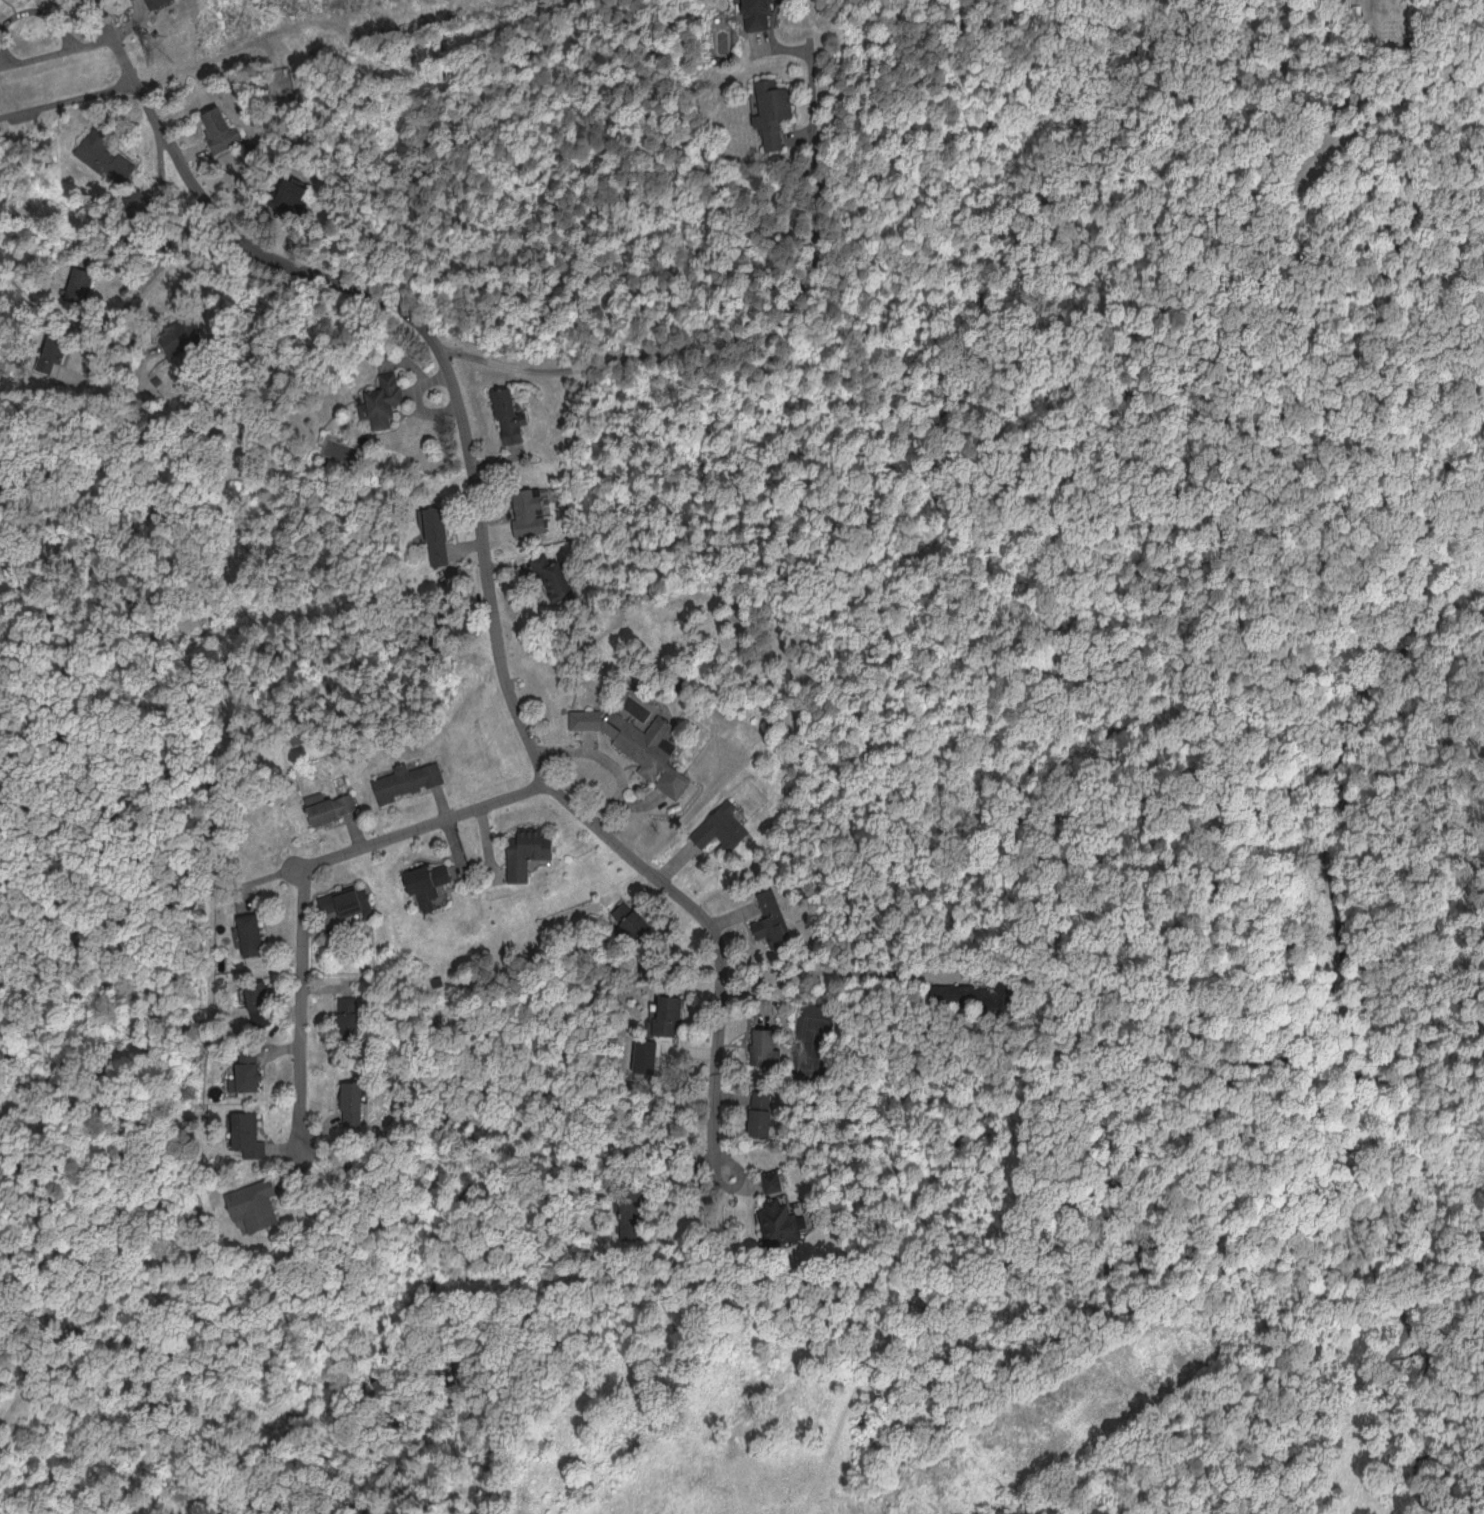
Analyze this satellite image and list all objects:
building: (161, 2)
building: (759, 14)
power tower: (157, 50)
road: (55, 51)
road: (69, 101)
building: (774, 110)
building: (220, 127)
building: (104, 155)
road: (222, 215)
road: (160, 254)
road: (748, 332)
building: (180, 335)
building: (382, 400)
building: (512, 415)
building: (531, 512)
building: (439, 535)
building: (553, 578)
building: (643, 739)
building: (409, 780)
road: (552, 787)
building: (335, 808)
building: (724, 827)
building: (530, 852)
road: (298, 871)
building: (430, 883)
building: (348, 901)
building: (630, 919)
building: (771, 919)
building: (249, 933)
building: (972, 993)
building: (258, 1000)
building: (668, 1011)
building: (347, 1014)
building: (767, 1043)
building: (250, 1075)
building: (352, 1100)
building: (763, 1111)
building: (248, 1134)
building: (773, 1180)
building: (255, 1203)
building: (778, 1220)

